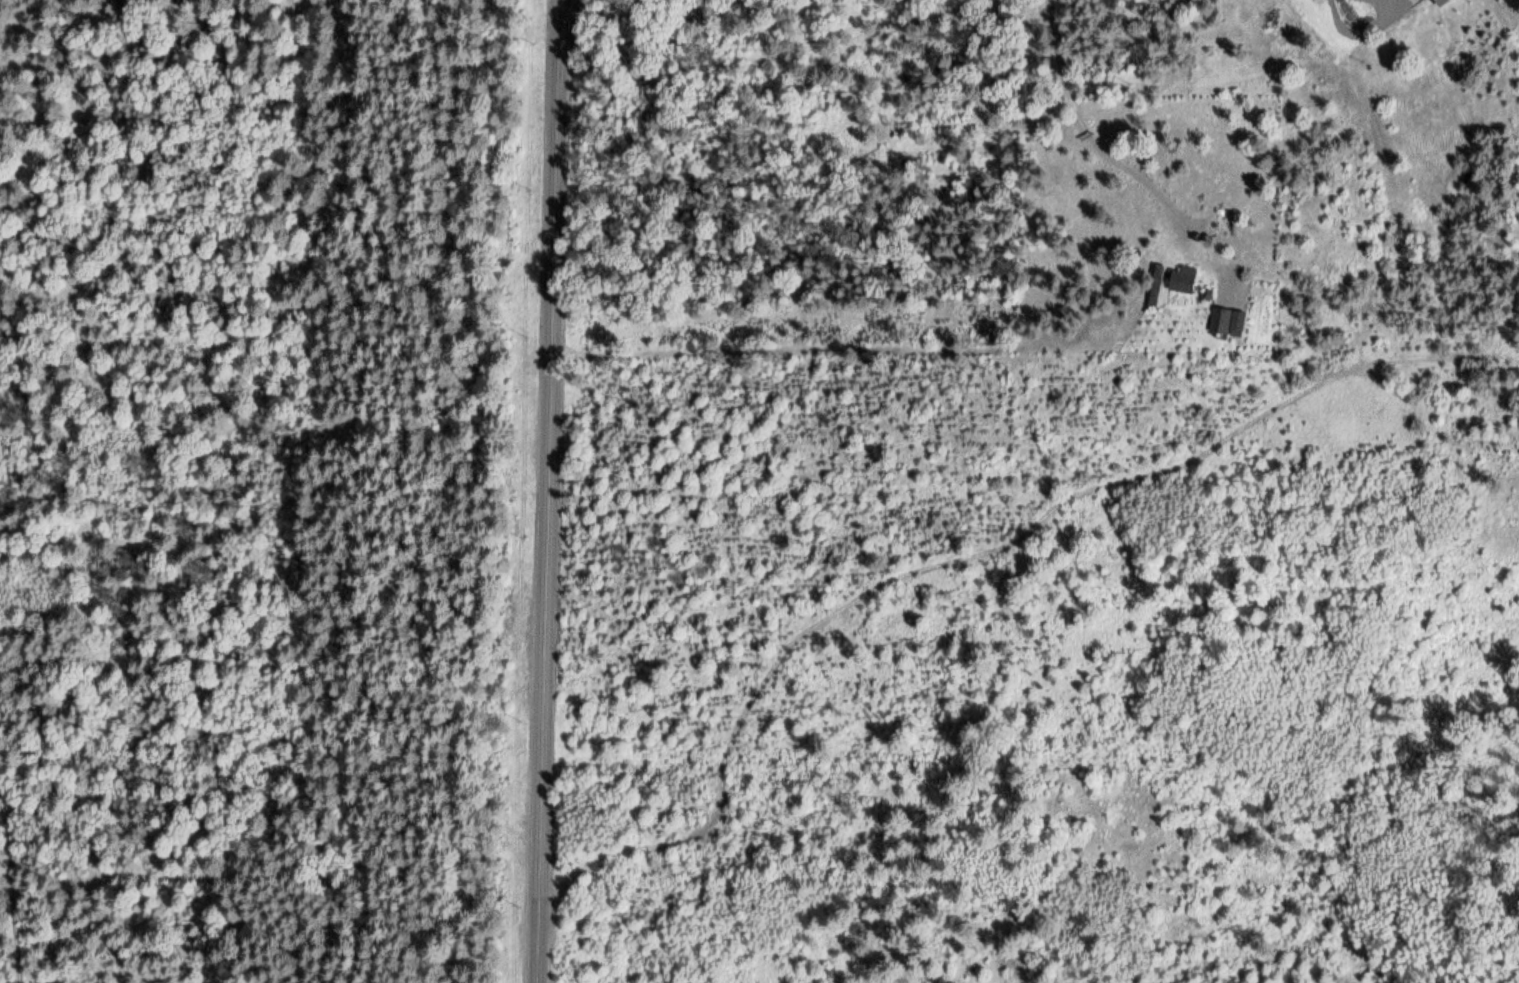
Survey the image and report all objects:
building: (1440, 2)
road: (1375, 4)
road: (564, 10)
road: (1111, 161)
building: (1183, 280)
building: (1155, 285)
building: (1225, 323)
road: (547, 491)

